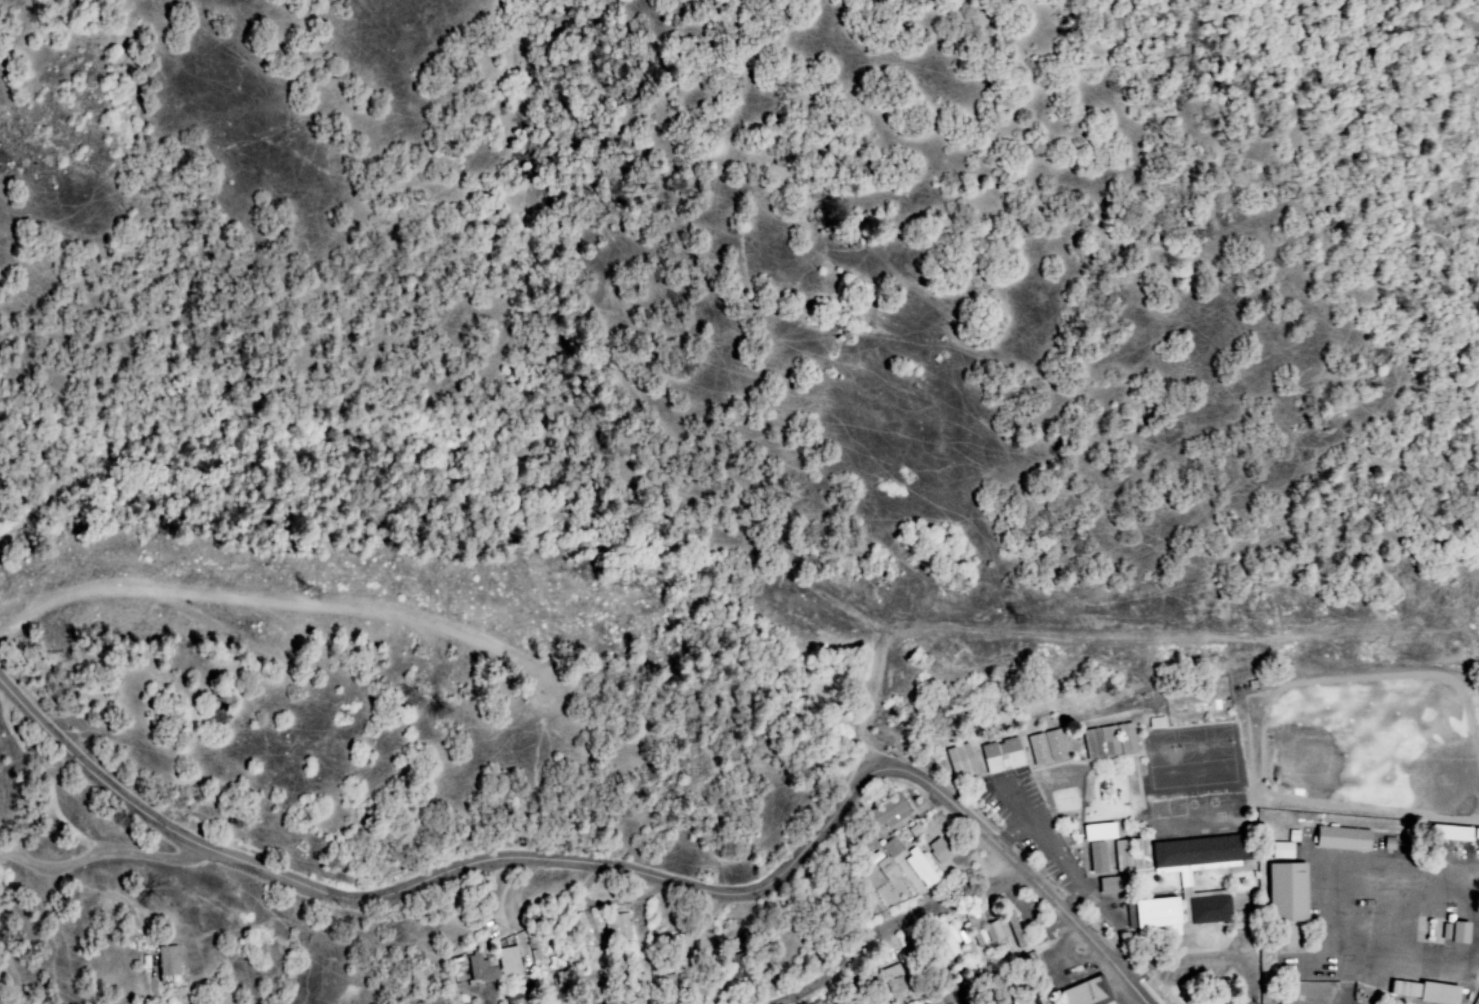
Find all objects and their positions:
power tower: (305, 573)
power tower: (1021, 622)
building: (1157, 723)
building: (1109, 743)
building: (1046, 749)
building: (1001, 756)
building: (961, 762)
building: (891, 812)
building: (1100, 833)
building: (1453, 834)
building: (1477, 835)
building: (1344, 839)
building: (1286, 847)
building: (891, 849)
building: (939, 851)
road: (108, 855)
building: (1131, 856)
building: (876, 858)
building: (1098, 858)
road: (607, 866)
building: (921, 869)
building: (887, 870)
building: (1113, 886)
building: (1289, 902)
building: (1156, 919)
road: (892, 926)
building: (617, 928)
building: (1456, 933)
building: (987, 935)
building: (949, 939)
building: (1019, 941)
road: (1226, 958)
building: (168, 962)
building: (508, 963)
road: (1138, 967)
building: (480, 969)
building: (1426, 992)
building: (1084, 994)
road: (1145, 995)
building: (1032, 1000)
building: (938, 1002)
building: (952, 1003)

